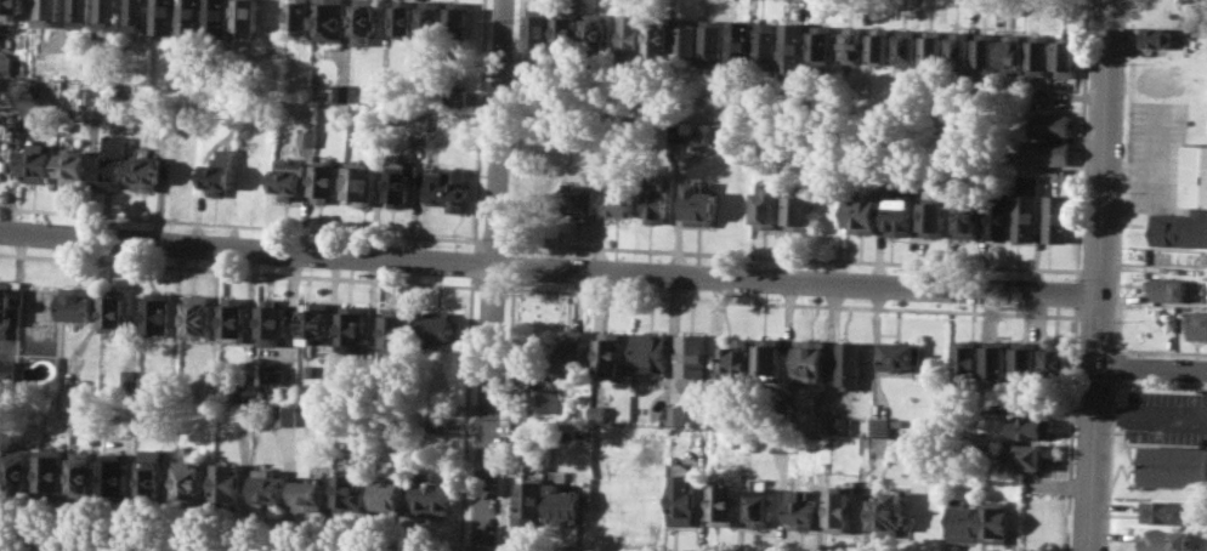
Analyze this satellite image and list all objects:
building: (11, 7)
building: (45, 12)
building: (78, 13)
building: (134, 15)
building: (104, 16)
building: (163, 16)
building: (189, 16)
building: (217, 16)
building: (244, 16)
building: (299, 16)
building: (402, 17)
building: (429, 18)
building: (457, 18)
building: (328, 19)
building: (362, 21)
building: (565, 28)
building: (538, 29)
building: (594, 30)
building: (658, 36)
building: (1156, 36)
building: (628, 38)
building: (684, 38)
building: (737, 41)
building: (710, 42)
building: (851, 44)
building: (878, 44)
building: (765, 45)
building: (906, 46)
building: (931, 46)
building: (821, 47)
building: (958, 47)
building: (985, 49)
building: (790, 51)
building: (1011, 52)
building: (5, 55)
building: (1039, 55)
building: (1065, 56)
building: (339, 91)
building: (103, 95)
building: (450, 96)
building: (1047, 124)
road: (477, 125)
road: (515, 125)
building: (244, 130)
building: (684, 131)
building: (305, 136)
road: (1081, 140)
building: (1044, 152)
parking lot: (1156, 155)
building: (36, 161)
building: (112, 161)
building: (73, 164)
road: (1157, 167)
building: (219, 170)
building: (146, 172)
building: (254, 176)
building: (289, 178)
building: (324, 178)
building: (362, 182)
building: (401, 182)
building: (446, 186)
road: (1133, 188)
building: (577, 201)
building: (654, 203)
building: (618, 204)
building: (1186, 204)
building: (698, 205)
road: (1137, 206)
building: (765, 208)
building: (1026, 209)
building: (797, 210)
building: (899, 211)
building: (861, 215)
building: (998, 215)
building: (968, 216)
building: (933, 217)
building: (1058, 217)
road: (240, 223)
road: (493, 242)
road: (790, 255)
road: (472, 262)
road: (511, 265)
road: (549, 267)
road: (239, 269)
road: (493, 275)
road: (1100, 275)
road: (492, 288)
building: (1169, 289)
road: (1076, 292)
building: (76, 302)
road: (792, 302)
building: (8, 303)
building: (114, 313)
building: (158, 313)
building: (198, 316)
building: (233, 316)
road: (1096, 317)
building: (313, 320)
building: (272, 322)
building: (1197, 324)
building: (351, 325)
building: (436, 328)
building: (396, 329)
road: (1117, 331)
building: (608, 350)
building: (569, 351)
building: (648, 352)
building: (900, 354)
building: (688, 358)
building: (735, 358)
building: (766, 358)
building: (967, 358)
building: (996, 358)
building: (1026, 359)
building: (809, 360)
building: (1055, 360)
building: (846, 364)
road: (1116, 364)
road: (1152, 368)
building: (127, 380)
building: (244, 391)
building: (288, 392)
building: (542, 402)
building: (597, 411)
road: (465, 413)
building: (716, 413)
building: (284, 414)
road: (506, 414)
building: (676, 414)
building: (781, 414)
road: (1151, 414)
parking lot: (1164, 415)
building: (822, 421)
building: (437, 424)
building: (840, 425)
building: (877, 425)
building: (1030, 426)
road: (1071, 428)
building: (777, 443)
building: (1025, 456)
building: (0, 462)
road: (1110, 464)
building: (1173, 465)
building: (18, 468)
building: (51, 471)
building: (81, 471)
building: (152, 472)
building: (115, 475)
building: (189, 479)
building: (227, 482)
building: (268, 487)
building: (348, 492)
building: (308, 495)
building: (387, 495)
building: (431, 495)
building: (681, 499)
building: (529, 504)
building: (721, 504)
building: (563, 506)
building: (759, 507)
building: (799, 507)
building: (843, 507)
building: (1166, 511)
building: (886, 515)
building: (993, 519)
building: (962, 521)
road: (233, 532)
building: (1166, 540)
road: (87, 545)
road: (480, 546)
road: (537, 549)

